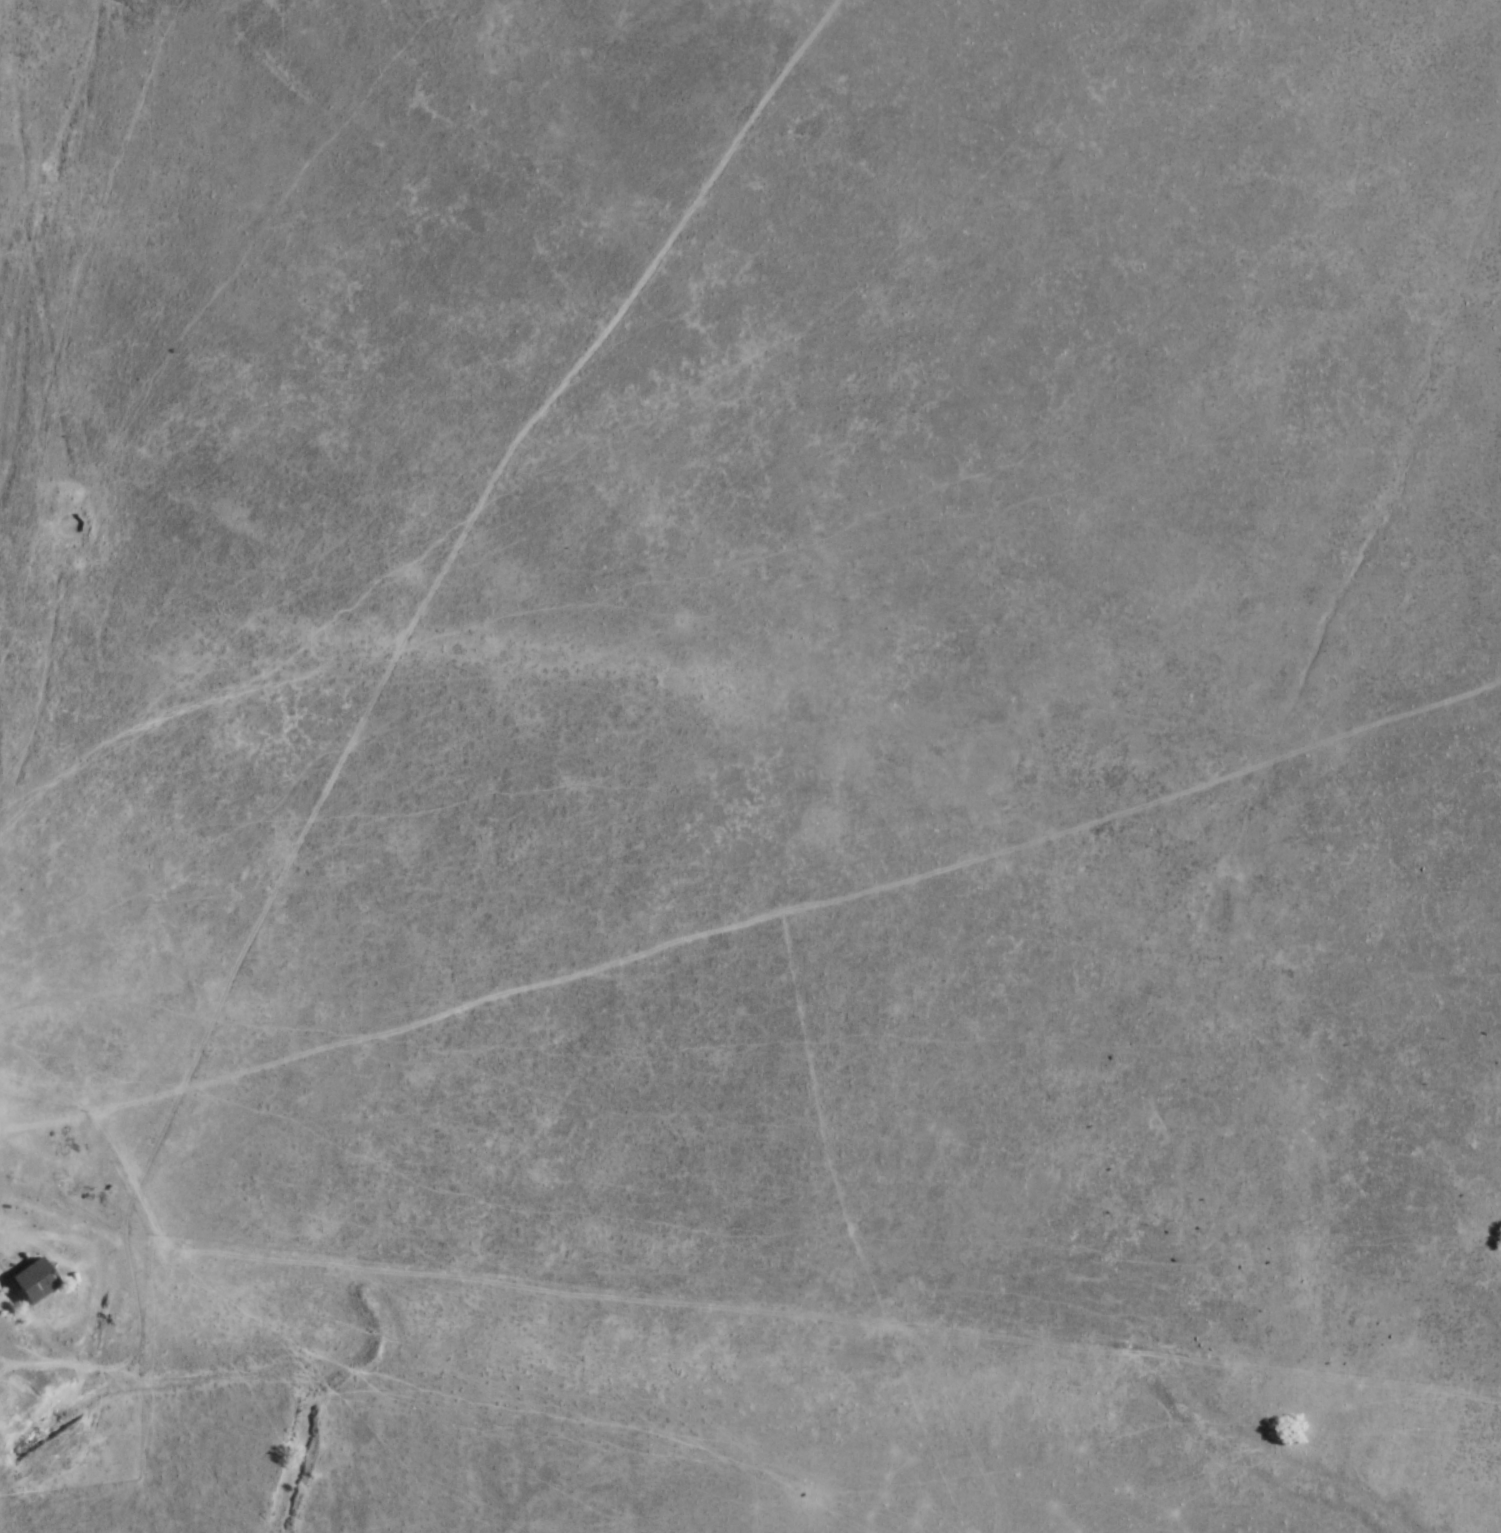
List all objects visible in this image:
building: (30, 1279)

